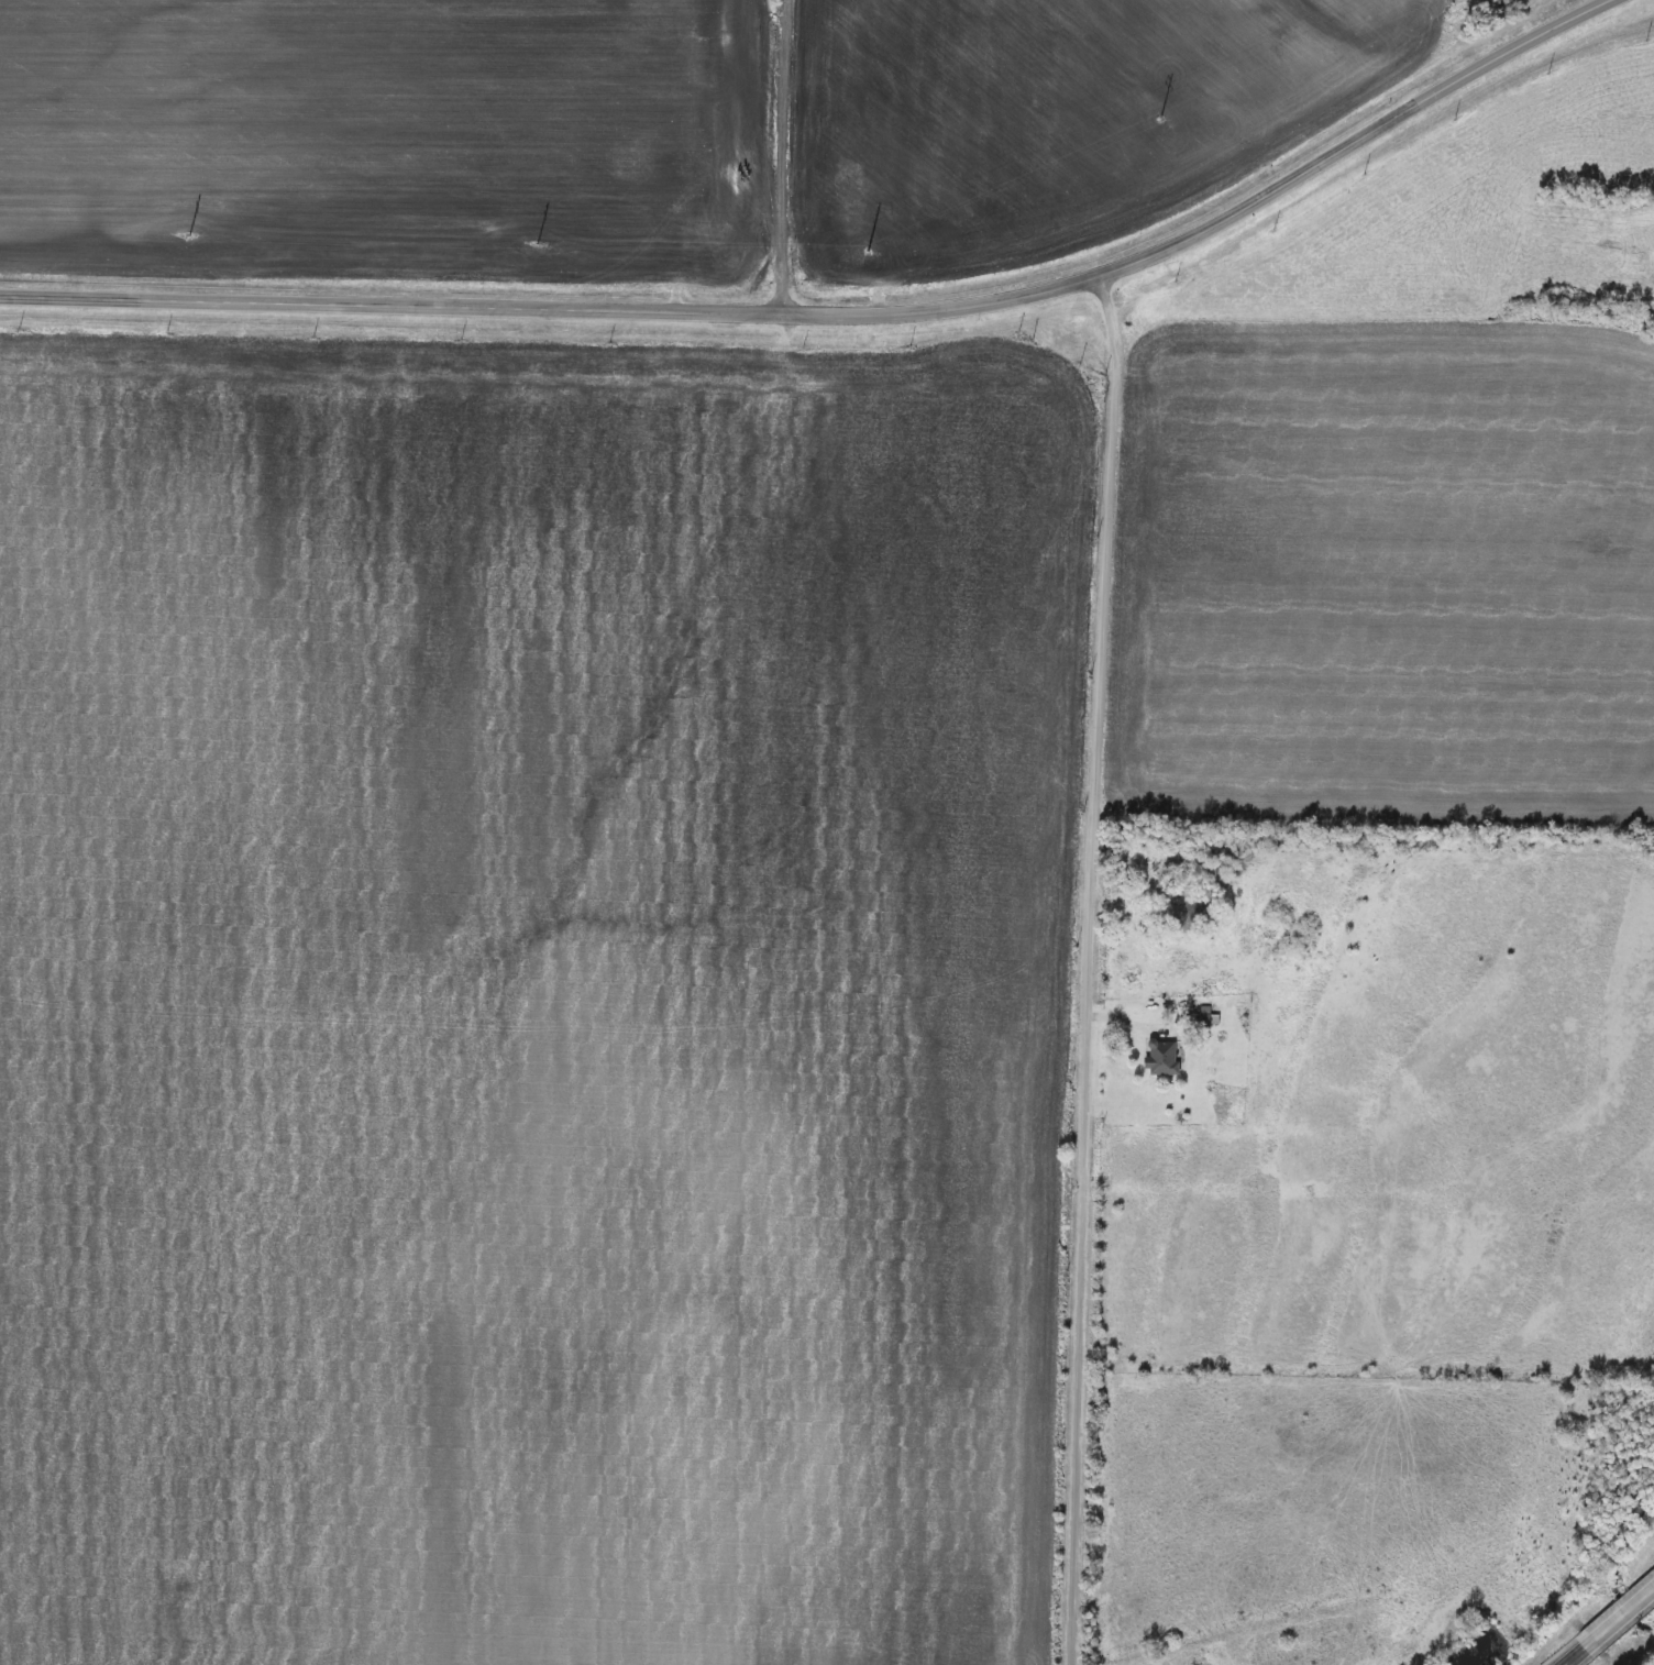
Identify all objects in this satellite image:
road: (793, 155)
road: (851, 311)
road: (1083, 967)
building: (1160, 1059)
road: (1619, 1619)
road: (1575, 1657)

